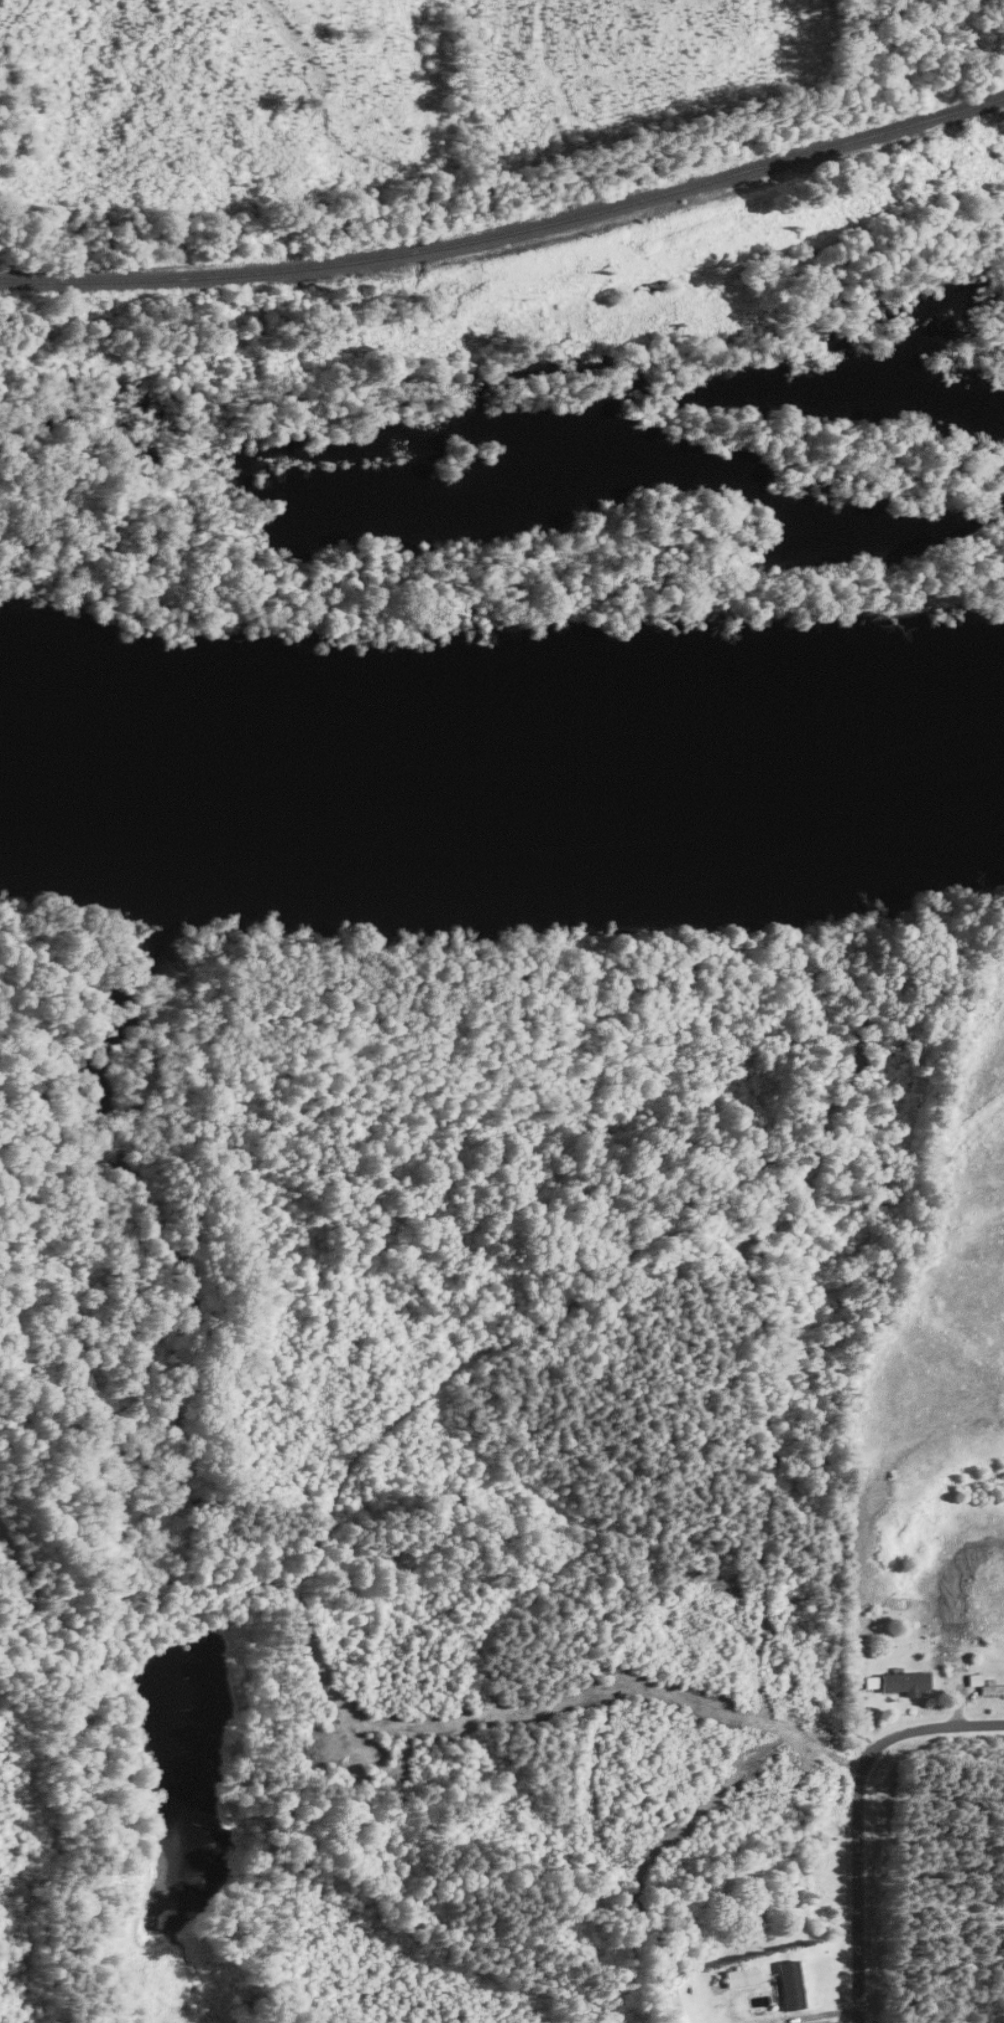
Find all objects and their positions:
railway: (509, 233)
river: (505, 663)
building: (905, 1684)
building: (984, 1686)
road: (858, 1816)
building: (747, 1909)
building: (742, 1977)
building: (790, 1985)

